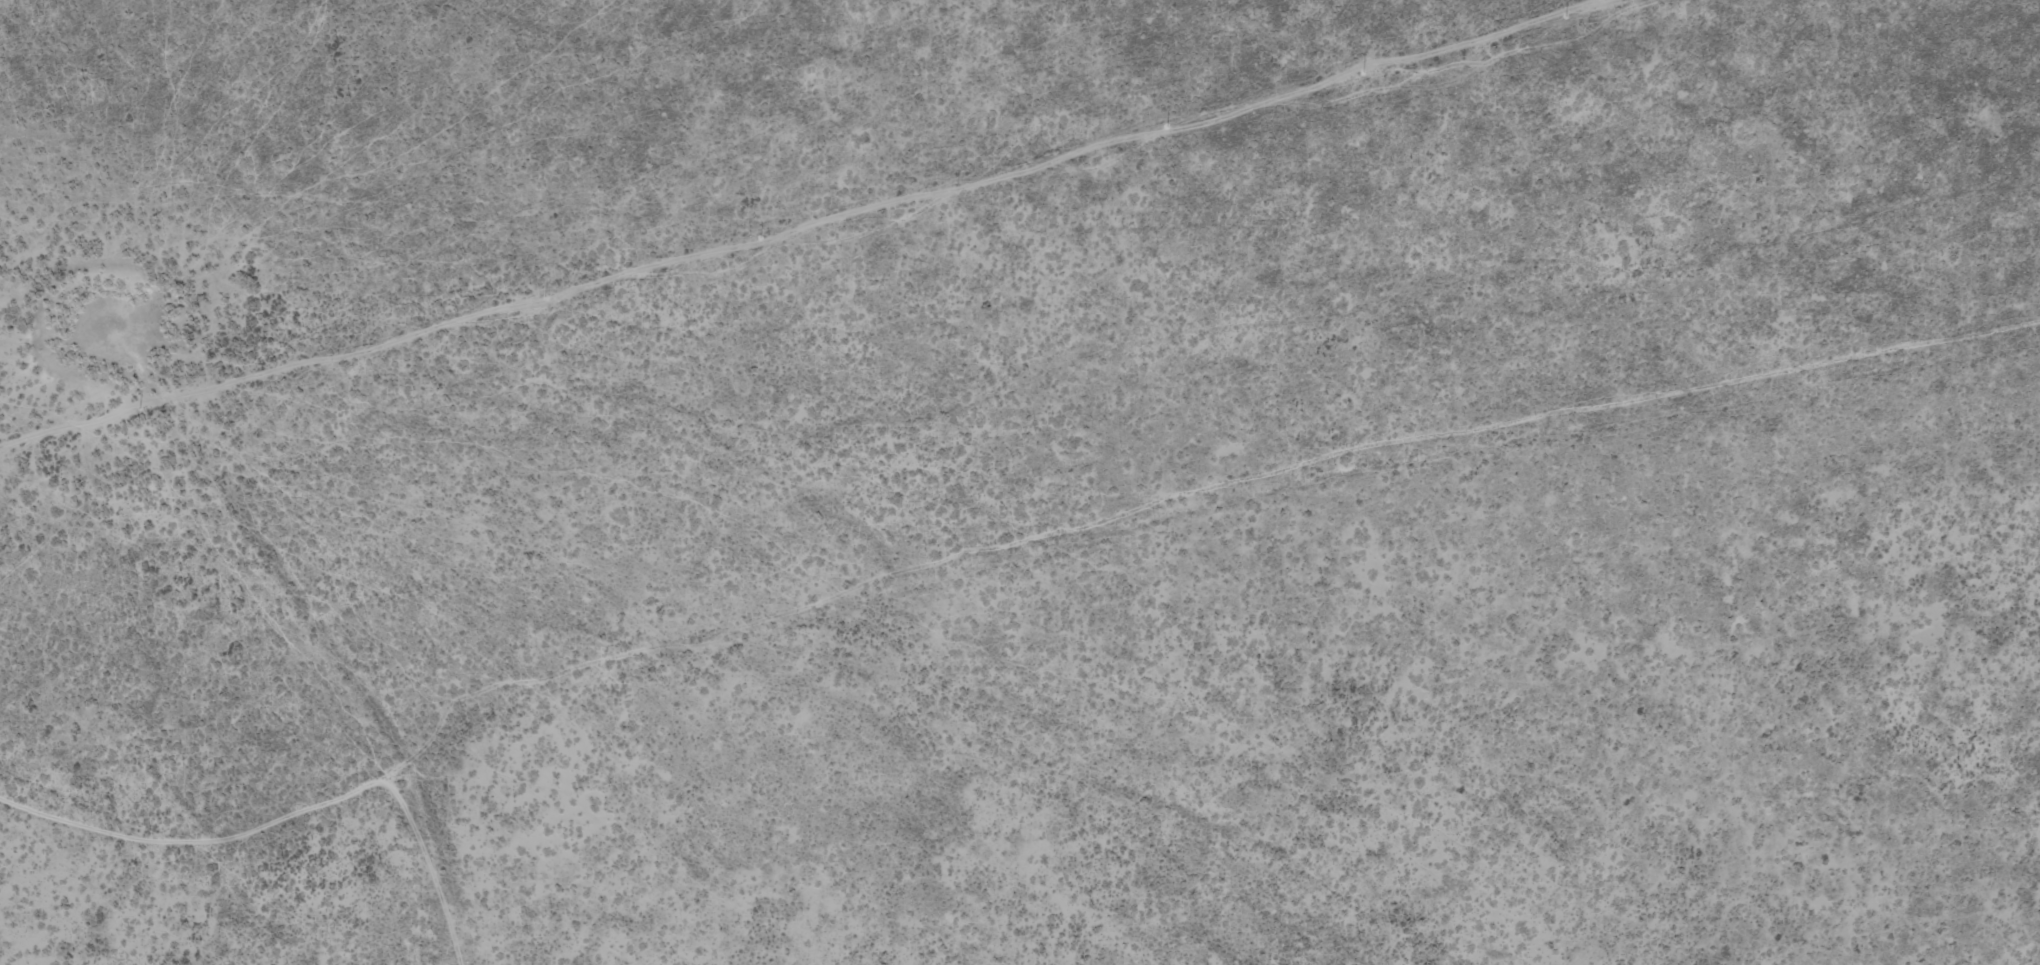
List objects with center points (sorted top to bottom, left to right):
road: (995, 550)

